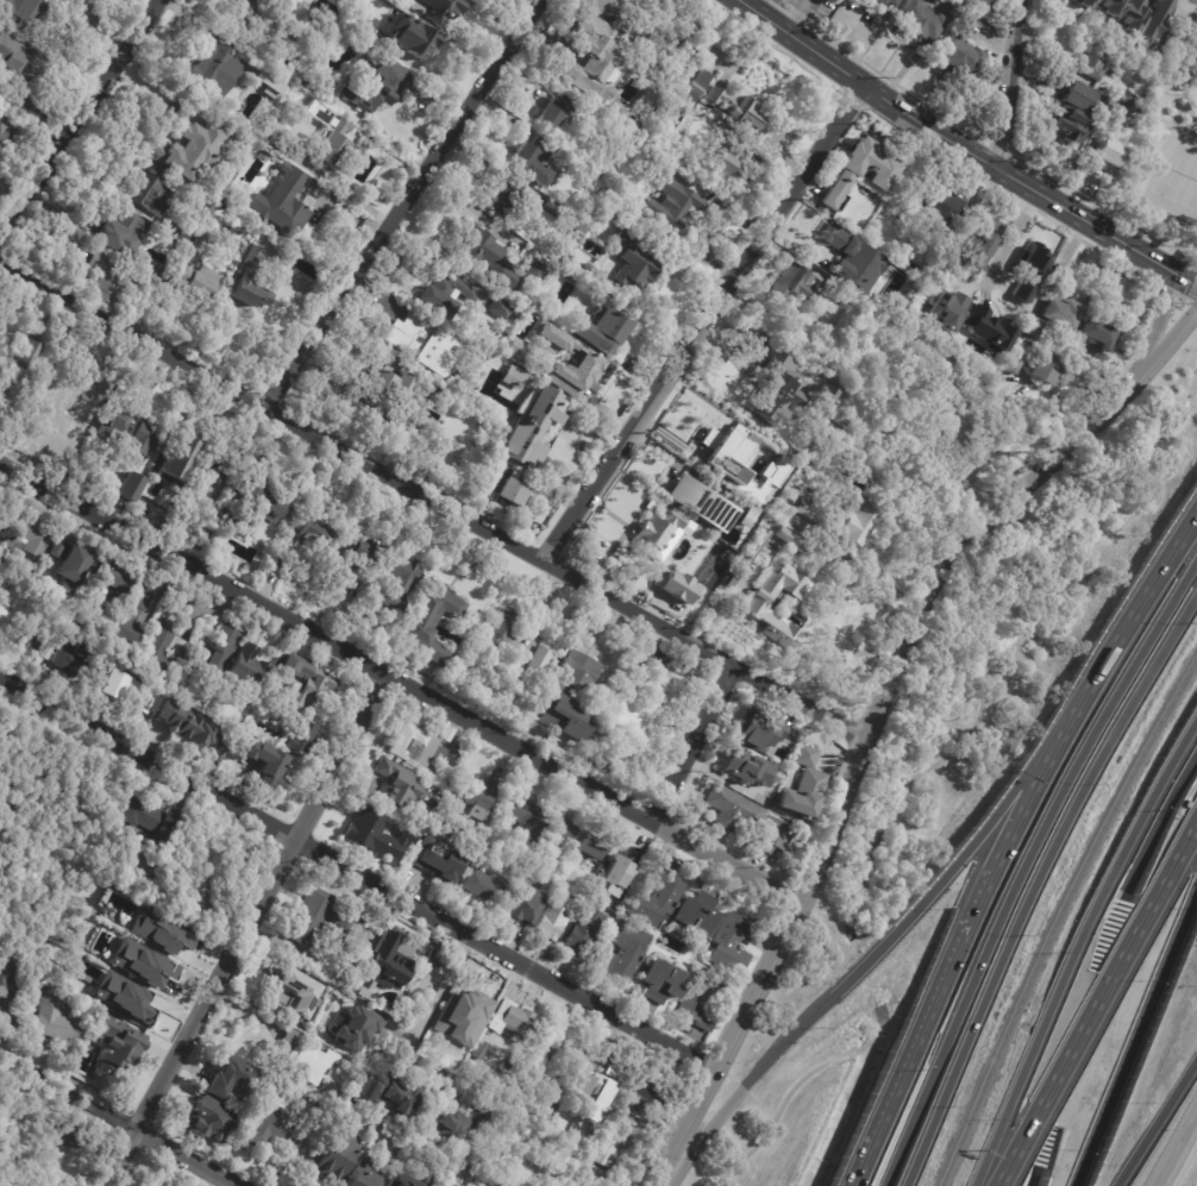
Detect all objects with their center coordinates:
building: (980, 1)
building: (886, 2)
building: (1083, 2)
building: (1107, 6)
building: (433, 10)
building: (296, 12)
building: (21, 15)
road: (796, 15)
building: (1129, 15)
building: (1153, 19)
building: (243, 20)
building: (920, 21)
building: (366, 26)
road: (99, 29)
building: (289, 32)
building: (412, 38)
building: (959, 48)
building: (11, 55)
building: (597, 56)
building: (1095, 58)
building: (214, 71)
building: (269, 82)
building: (376, 84)
road: (1011, 87)
road: (870, 88)
building: (1133, 101)
building: (645, 103)
building: (178, 108)
building: (1077, 113)
building: (1117, 113)
building: (552, 114)
building: (751, 120)
road: (77, 121)
building: (4, 124)
building: (276, 138)
building: (330, 140)
building: (192, 148)
park: (1167, 149)
building: (1110, 152)
building: (652, 162)
building: (534, 163)
road: (1136, 171)
building: (882, 174)
park: (1176, 181)
building: (149, 193)
building: (503, 199)
building: (282, 203)
road: (406, 203)
building: (672, 207)
building: (552, 209)
building: (945, 212)
building: (616, 228)
road: (1098, 231)
building: (125, 233)
building: (180, 233)
road: (1008, 239)
building: (979, 245)
building: (490, 261)
building: (852, 261)
building: (537, 269)
building: (195, 271)
building: (1029, 271)
building: (585, 274)
building: (633, 274)
building: (107, 278)
building: (247, 282)
building: (792, 289)
building: (841, 293)
building: (445, 297)
building: (501, 312)
building: (948, 312)
road: (1161, 314)
building: (1063, 315)
road: (704, 320)
building: (1033, 327)
building: (0, 330)
building: (991, 332)
building: (604, 335)
building: (1101, 343)
building: (422, 345)
building: (23, 354)
building: (578, 363)
building: (1011, 365)
building: (1046, 369)
building: (513, 378)
building: (390, 388)
building: (778, 393)
building: (327, 395)
building: (825, 399)
building: (81, 401)
road: (1190, 412)
building: (115, 416)
building: (382, 421)
building: (529, 432)
building: (954, 432)
building: (143, 439)
building: (186, 451)
building: (719, 451)
building: (106, 463)
building: (213, 464)
building: (778, 471)
building: (198, 481)
building: (129, 487)
building: (512, 495)
road: (435, 497)
building: (265, 500)
building: (704, 503)
building: (2, 509)
building: (744, 519)
building: (840, 522)
building: (242, 525)
building: (314, 533)
building: (27, 535)
building: (658, 536)
building: (791, 542)
building: (206, 547)
building: (754, 550)
building: (362, 554)
building: (311, 561)
building: (69, 563)
building: (281, 566)
building: (15, 570)
building: (331, 581)
building: (732, 581)
building: (399, 583)
building: (677, 586)
building: (124, 594)
building: (757, 604)
building: (368, 613)
building: (4, 616)
building: (432, 626)
building: (501, 629)
road: (1126, 629)
road: (994, 633)
building: (27, 636)
building: (158, 652)
building: (74, 655)
building: (539, 663)
building: (211, 664)
building: (246, 666)
building: (579, 673)
building: (637, 674)
road: (403, 680)
building: (306, 683)
building: (125, 691)
building: (602, 703)
road: (879, 714)
building: (565, 715)
building: (634, 718)
building: (189, 726)
building: (759, 732)
building: (296, 739)
road: (694, 742)
building: (420, 743)
building: (456, 751)
road: (1085, 751)
building: (594, 752)
building: (1, 753)
building: (806, 757)
building: (264, 765)
building: (746, 767)
building: (395, 784)
building: (802, 793)
building: (480, 798)
building: (77, 799)
road: (1024, 807)
building: (732, 810)
building: (525, 820)
building: (155, 821)
road: (1157, 824)
building: (563, 828)
building: (371, 835)
building: (772, 836)
building: (591, 847)
building: (547, 849)
building: (437, 859)
road: (358, 872)
building: (615, 878)
road: (1036, 883)
building: (484, 885)
building: (579, 885)
building: (560, 890)
building: (656, 895)
building: (524, 905)
building: (183, 909)
building: (697, 915)
railway: (1058, 915)
building: (320, 917)
building: (550, 923)
road: (244, 929)
building: (368, 931)
building: (582, 933)
building: (127, 936)
building: (733, 943)
road: (1077, 945)
building: (173, 948)
building: (621, 953)
building: (386, 960)
building: (142, 964)
road: (863, 965)
building: (300, 990)
building: (689, 993)
building: (124, 997)
building: (8, 998)
road: (1097, 1003)
building: (471, 1004)
building: (56, 1017)
building: (509, 1017)
road: (418, 1022)
building: (356, 1027)
road: (876, 1028)
road: (921, 1028)
building: (440, 1030)
road: (1134, 1035)
building: (124, 1043)
road: (863, 1048)
building: (480, 1049)
building: (554, 1049)
building: (301, 1059)
road: (936, 1066)
building: (602, 1071)
building: (225, 1072)
building: (538, 1088)
building: (646, 1091)
building: (387, 1092)
building: (591, 1094)
building: (14, 1096)
road: (778, 1110)
building: (209, 1118)
road: (121, 1119)
building: (468, 1121)
road: (1157, 1122)
building: (270, 1124)
building: (69, 1140)
building: (412, 1143)
building: (614, 1144)
road: (1174, 1144)
building: (333, 1156)
building: (362, 1173)
road: (1036, 1180)
building: (396, 1181)
building: (151, 1184)
building: (144, 1185)
building: (495, 1185)
building: (574, 1185)

